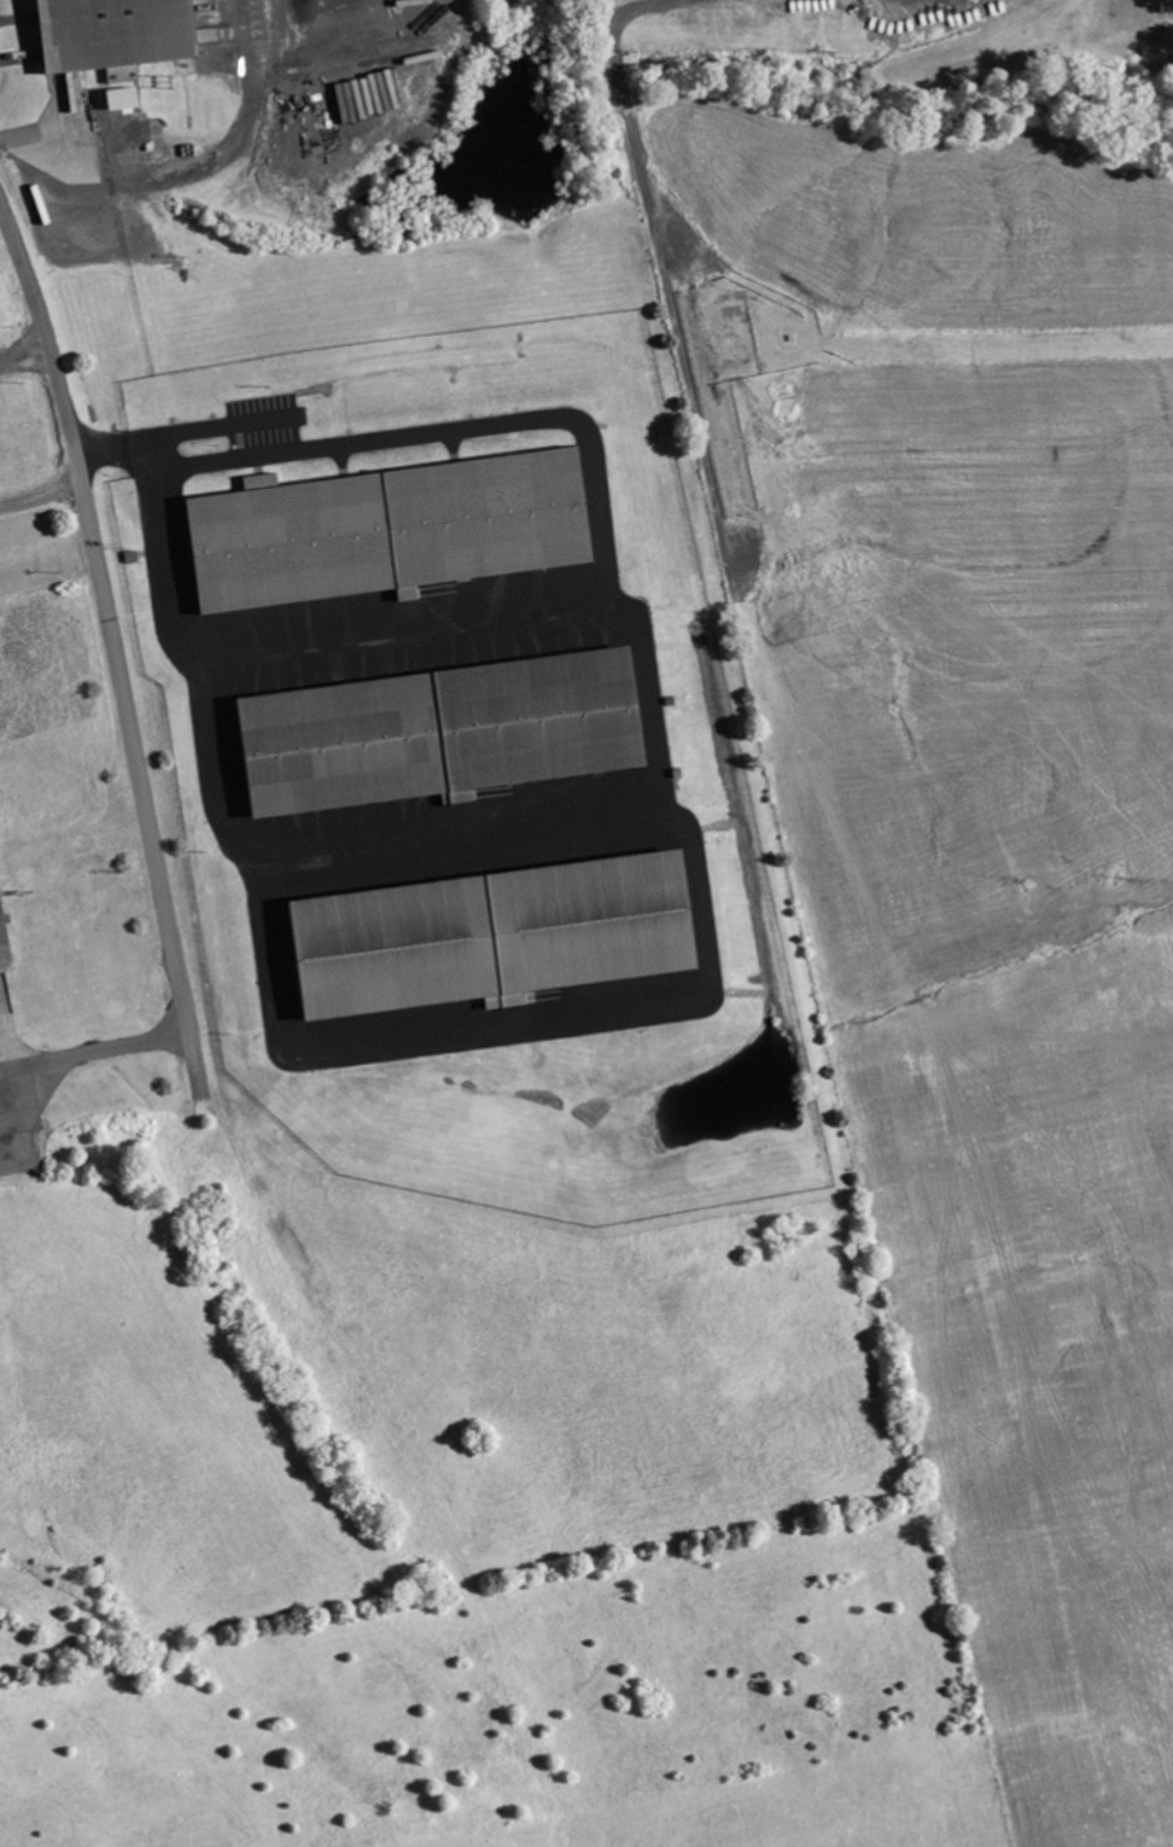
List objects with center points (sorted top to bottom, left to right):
building: (116, 35)
building: (126, 100)
building: (392, 531)
road: (112, 645)
building: (443, 734)
building: (5, 936)
building: (495, 939)
road: (94, 1048)

